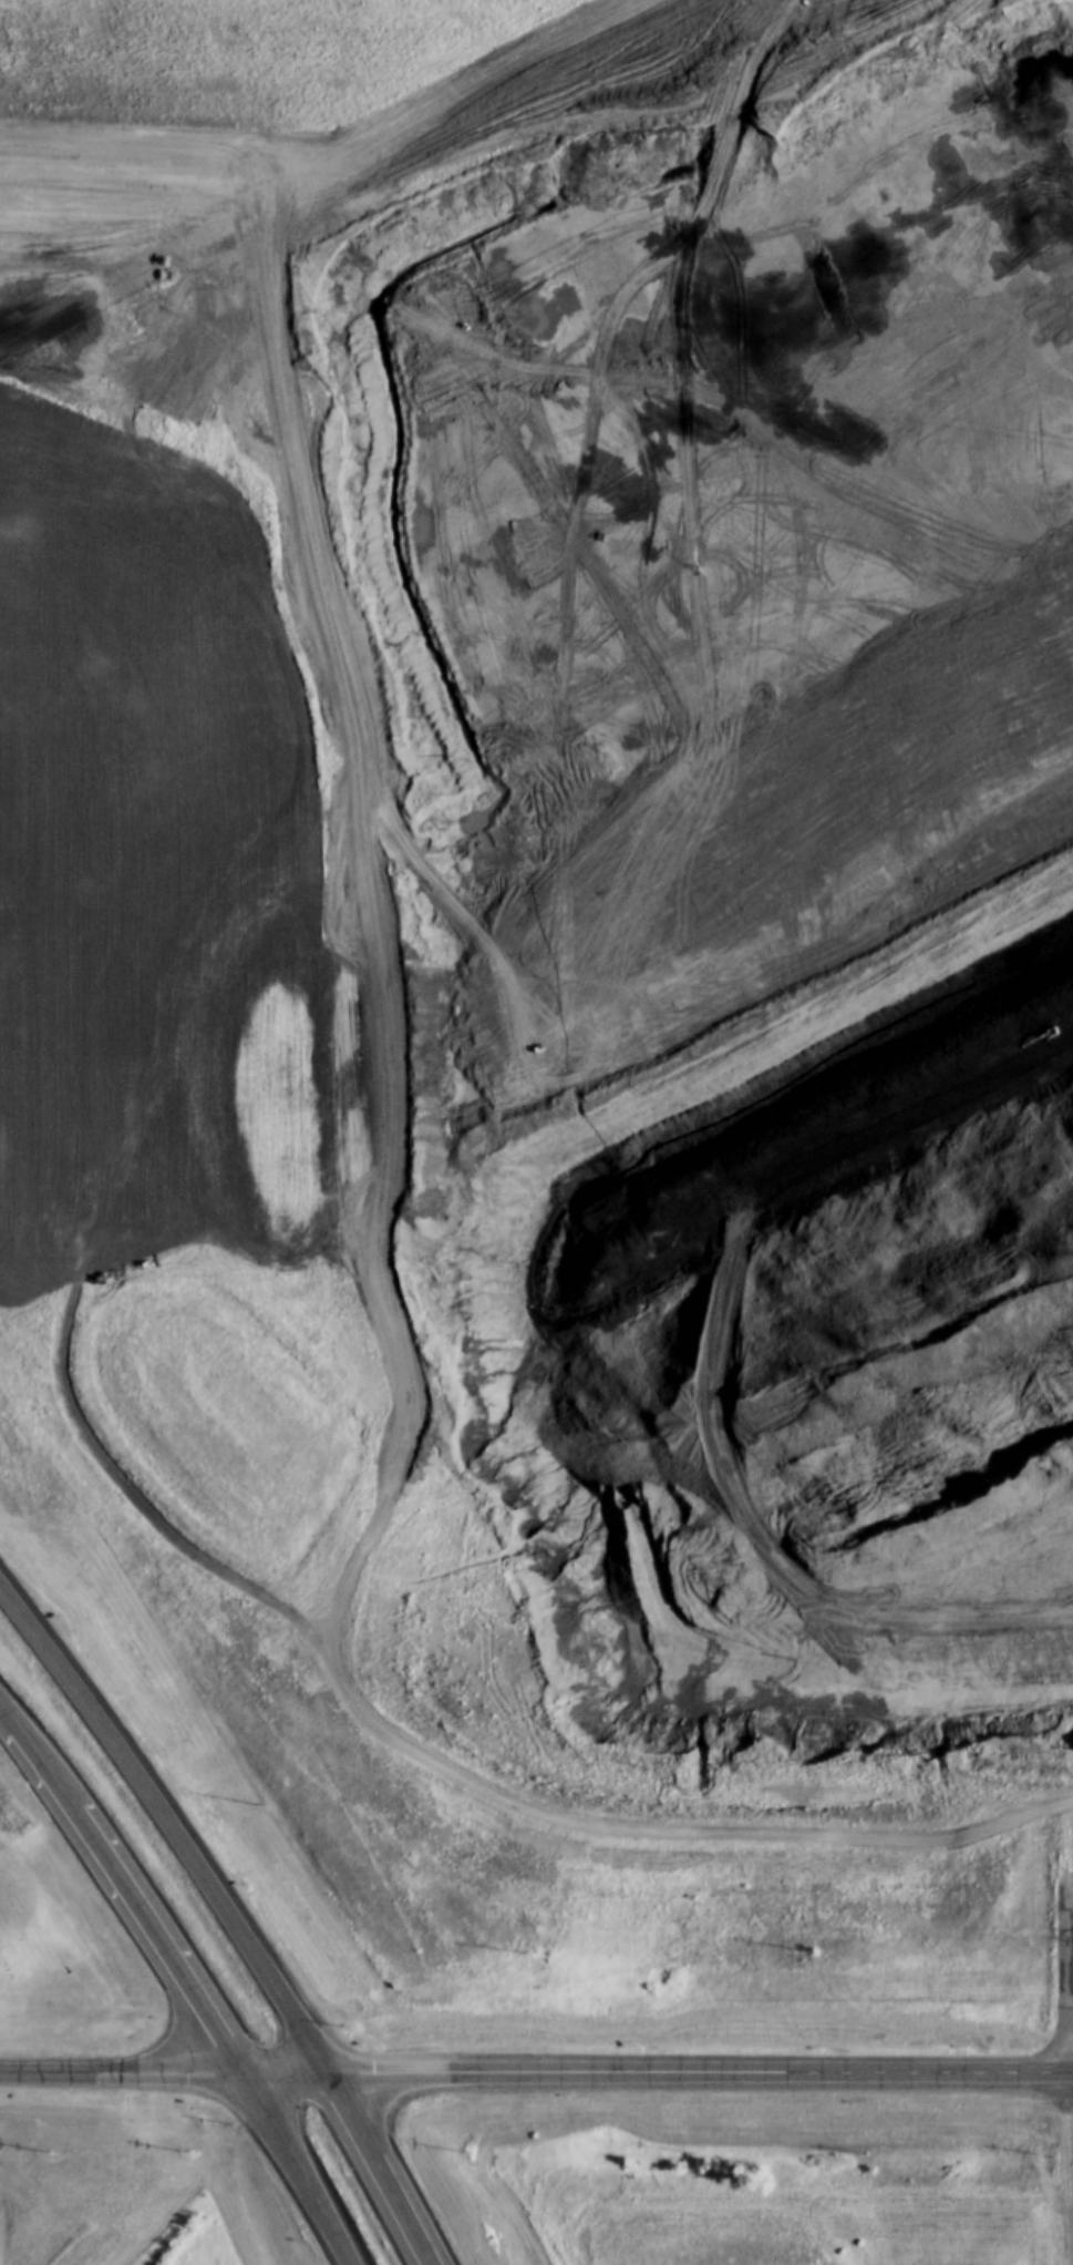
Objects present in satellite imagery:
road: (1071, 1035)
road: (8, 1705)
road: (45, 1757)
road: (172, 1820)
road: (1071, 1838)
road: (162, 1934)
road: (122, 2070)
road: (287, 2071)
road: (700, 2071)
road: (299, 2167)
road: (379, 2167)

